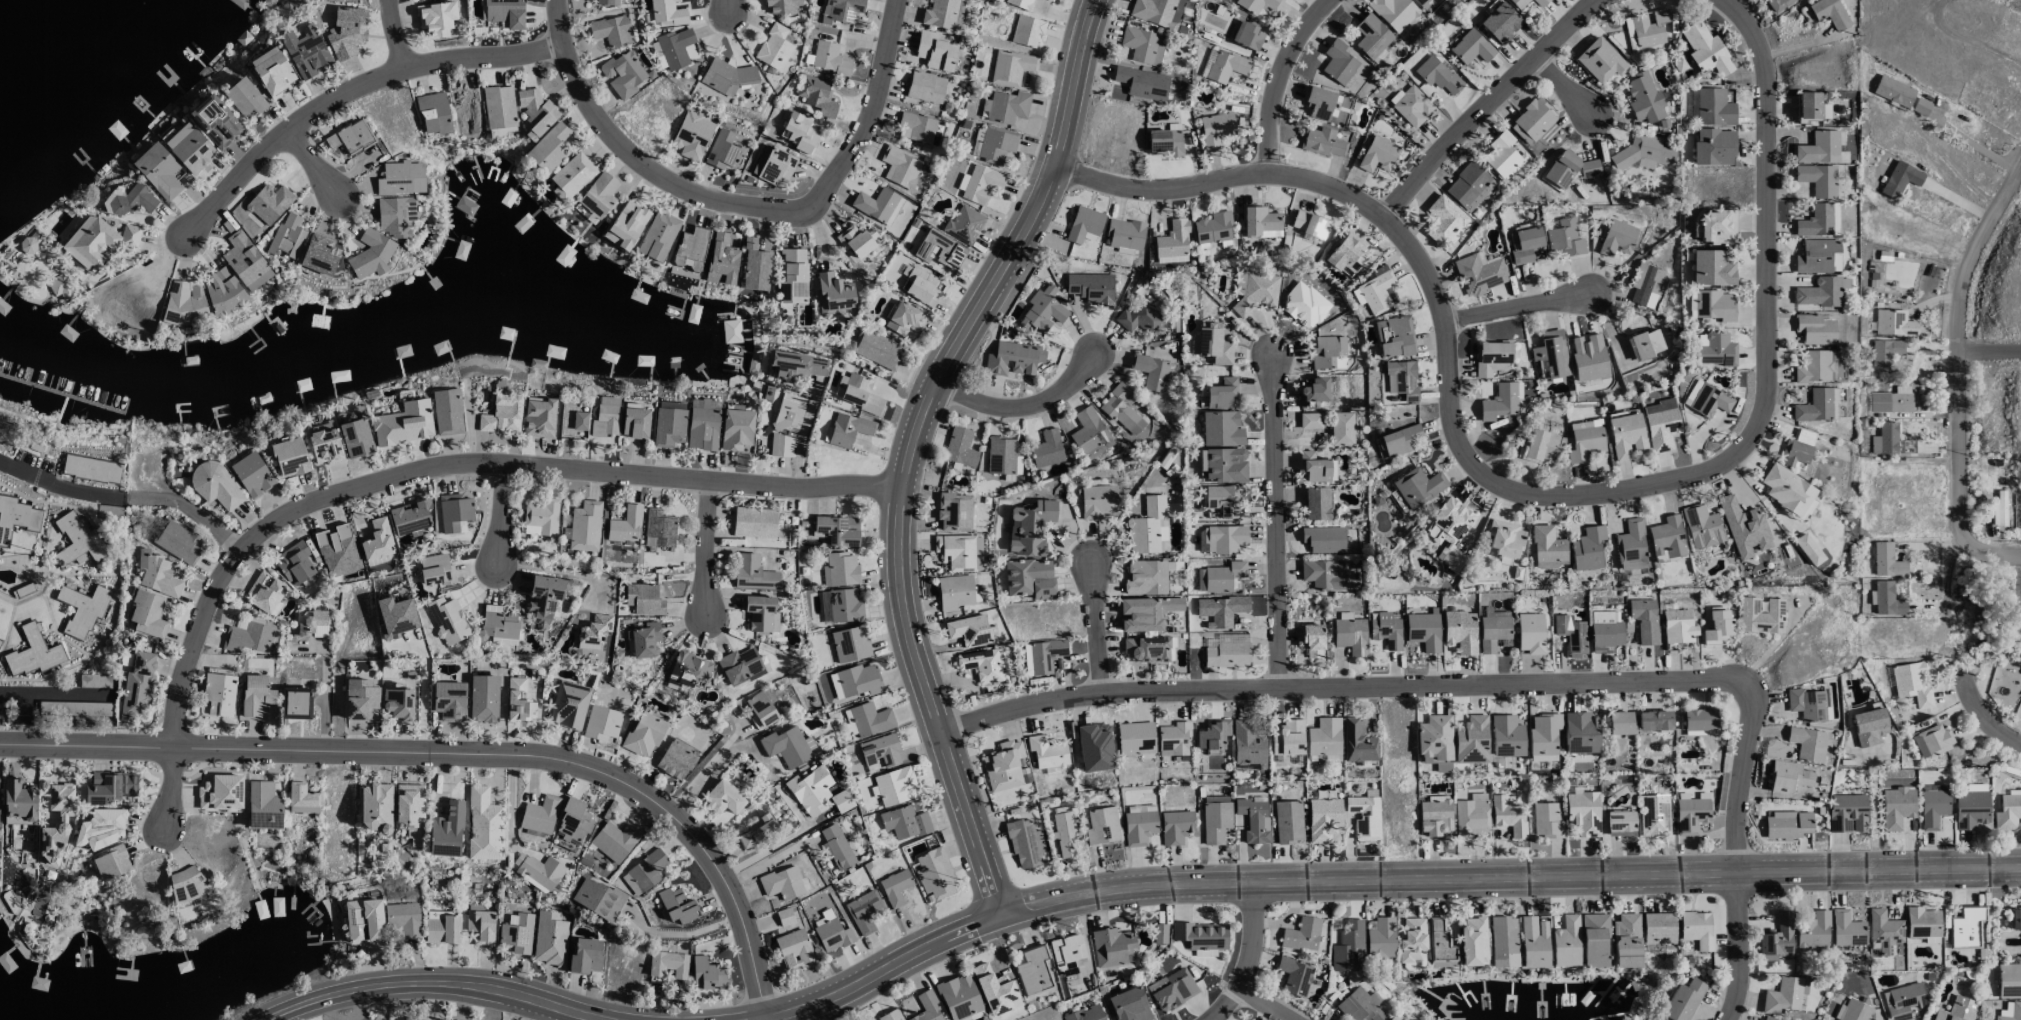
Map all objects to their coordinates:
building: (1050, 0)
building: (346, 1)
building: (607, 2)
building: (1517, 3)
building: (1538, 3)
building: (1019, 4)
building: (1424, 4)
building: (1775, 4)
building: (1257, 5)
road: (733, 6)
building: (782, 6)
building: (842, 10)
building: (504, 12)
building: (667, 12)
building: (1157, 12)
building: (1393, 12)
building: (939, 13)
building: (1829, 13)
building: (958, 15)
building: (435, 18)
building: (1499, 22)
building: (1646, 28)
building: (611, 30)
building: (1026, 31)
building: (346, 32)
road: (396, 33)
building: (1371, 36)
building: (1247, 37)
road: (1966, 41)
building: (1142, 45)
building: (773, 47)
building: (1471, 47)
building: (674, 48)
building: (1705, 49)
building: (305, 51)
building: (934, 51)
building: (657, 56)
building: (829, 58)
building: (1599, 60)
building: (1338, 62)
building: (1226, 66)
building: (1010, 67)
building: (272, 72)
building: (622, 74)
building: (1437, 75)
building: (724, 76)
road: (1278, 78)
building: (1141, 83)
road: (1563, 85)
building: (925, 87)
road: (344, 89)
building: (1893, 91)
building: (816, 95)
building: (244, 97)
road: (1488, 99)
building: (1643, 99)
building: (1317, 102)
building: (1811, 106)
building: (498, 107)
building: (1007, 107)
building: (1412, 107)
building: (1713, 107)
building: (535, 108)
building: (465, 109)
building: (433, 113)
building: (1533, 119)
building: (214, 121)
building: (917, 127)
building: (1215, 129)
building: (799, 133)
building: (692, 135)
building: (350, 137)
building: (1164, 142)
building: (1323, 142)
building: (996, 144)
road: (1973, 145)
building: (1713, 147)
building: (189, 148)
building: (1818, 148)
building: (548, 149)
building: (723, 150)
building: (1644, 153)
building: (1377, 154)
building: (1502, 156)
road: (314, 162)
building: (775, 166)
building: (900, 167)
building: (1569, 169)
building: (158, 171)
building: (570, 176)
building: (400, 178)
building: (1900, 179)
building: (1818, 180)
building: (981, 184)
building: (1466, 184)
building: (598, 195)
building: (1479, 196)
building: (269, 203)
road: (743, 203)
building: (875, 204)
building: (395, 217)
building: (1835, 218)
building: (1443, 220)
building: (1260, 222)
building: (1815, 222)
building: (1083, 224)
building: (1309, 224)
building: (625, 225)
building: (963, 225)
building: (1716, 227)
building: (1213, 228)
building: (1125, 234)
building: (657, 236)
building: (287, 237)
building: (1565, 238)
building: (1617, 238)
building: (857, 240)
building: (1173, 240)
building: (96, 241)
building: (690, 249)
building: (938, 250)
building: (1346, 253)
building: (371, 254)
building: (1818, 257)
building: (720, 259)
building: (1171, 260)
building: (245, 261)
building: (754, 267)
building: (1711, 268)
building: (1479, 274)
building: (792, 276)
building: (1645, 283)
building: (62, 287)
building: (921, 287)
building: (1091, 288)
building: (222, 291)
building: (1256, 292)
building: (1377, 292)
building: (1819, 292)
building: (832, 296)
building: (182, 304)
building: (1714, 305)
road: (1523, 310)
building: (1042, 311)
building: (905, 318)
building: (1141, 319)
building: (1894, 323)
building: (1814, 329)
building: (1394, 337)
building: (1646, 343)
building: (1211, 344)
road: (1991, 347)
building: (876, 349)
building: (1327, 350)
building: (1716, 350)
building: (1551, 353)
building: (1884, 353)
building: (1491, 358)
building: (1013, 359)
building: (796, 366)
building: (1815, 367)
building: (1150, 371)
building: (1401, 379)
building: (1313, 392)
building: (1221, 393)
building: (860, 394)
road: (1960, 395)
building: (792, 399)
building: (1705, 399)
building: (608, 400)
road: (1028, 401)
building: (1499, 402)
building: (1895, 402)
building: (702, 404)
building: (1817, 406)
building: (1122, 409)
building: (447, 412)
building: (501, 415)
building: (573, 417)
building: (538, 418)
building: (787, 418)
building: (1310, 420)
building: (605, 421)
building: (634, 423)
building: (404, 424)
building: (668, 424)
building: (1585, 424)
building: (1660, 424)
building: (702, 429)
building: (736, 429)
building: (847, 429)
building: (1221, 429)
building: (1341, 429)
building: (1088, 431)
building: (7, 432)
building: (1626, 436)
road: (908, 439)
building: (1884, 439)
building: (1399, 440)
building: (1540, 445)
building: (1584, 445)
building: (780, 446)
building: (325, 447)
building: (960, 447)
building: (1046, 449)
building: (1796, 449)
building: (1000, 455)
building: (289, 457)
road: (803, 460)
building: (1224, 465)
building: (1313, 467)
building: (90, 469)
road: (409, 470)
building: (251, 474)
building: (215, 485)
building: (1418, 487)
building: (1786, 490)
road: (123, 496)
road: (1530, 496)
building: (1223, 500)
building: (1097, 501)
building: (1316, 503)
building: (1999, 508)
building: (108, 511)
building: (454, 512)
building: (954, 512)
building: (541, 516)
road: (1275, 516)
building: (410, 517)
road: (498, 517)
building: (16, 518)
building: (754, 522)
building: (584, 526)
building: (624, 526)
building: (1148, 527)
building: (1701, 527)
building: (1029, 528)
building: (1742, 528)
building: (658, 529)
building: (836, 530)
building: (1449, 531)
building: (1227, 538)
building: (1504, 538)
building: (1666, 538)
building: (1323, 539)
building: (76, 540)
building: (377, 540)
building: (177, 541)
building: (1546, 544)
road: (1989, 545)
building: (1630, 546)
building: (1587, 548)
building: (1807, 549)
building: (337, 550)
road: (706, 551)
building: (959, 552)
building: (1886, 561)
building: (295, 563)
road: (551, 567)
building: (840, 569)
building: (435, 570)
building: (753, 573)
building: (156, 574)
building: (1323, 574)
building: (1224, 577)
building: (1145, 578)
building: (1029, 579)
building: (264, 591)
building: (954, 592)
building: (544, 597)
building: (643, 599)
building: (1886, 600)
building: (844, 606)
building: (83, 608)
building: (1227, 610)
building: (1146, 613)
building: (147, 614)
building: (761, 614)
building: (1761, 615)
building: (447, 620)
building: (1644, 620)
road: (1098, 623)
building: (313, 624)
building: (499, 626)
building: (1717, 626)
building: (1677, 627)
building: (1385, 629)
building: (969, 631)
building: (1423, 631)
building: (1460, 631)
building: (593, 632)
building: (1493, 632)
building: (1530, 633)
building: (1571, 634)
building: (1350, 636)
building: (1605, 636)
building: (248, 637)
building: (644, 639)
building: (1310, 639)
building: (850, 644)
building: (1145, 649)
building: (1228, 651)
building: (33, 653)
building: (1045, 655)
building: (984, 665)
building: (740, 666)
building: (687, 669)
road: (1519, 679)
building: (859, 680)
building: (94, 681)
building: (1912, 683)
building: (138, 685)
road: (317, 690)
road: (67, 694)
building: (219, 694)
building: (255, 695)
road: (420, 697)
building: (483, 698)
building: (360, 699)
building: (449, 701)
building: (518, 701)
building: (1806, 704)
building: (294, 705)
building: (568, 705)
road: (23, 708)
building: (75, 708)
building: (760, 709)
road: (1986, 711)
building: (870, 719)
building: (1653, 721)
building: (1699, 722)
building: (601, 723)
building: (1619, 723)
building: (1868, 727)
building: (645, 731)
building: (1580, 733)
building: (1212, 734)
building: (1506, 736)
building: (1542, 736)
building: (1324, 737)
building: (1135, 738)
building: (1173, 739)
building: (1287, 739)
building: (1470, 740)
building: (1931, 740)
building: (1435, 742)
building: (1247, 743)
building: (1357, 743)
building: (1807, 743)
building: (786, 746)
building: (1094, 747)
road: (12, 748)
building: (879, 752)
road: (470, 753)
building: (1046, 753)
building: (675, 759)
building: (1003, 766)
road: (707, 768)
building: (1787, 777)
road: (1995, 781)
building: (894, 786)
building: (109, 787)
building: (1975, 787)
building: (810, 791)
building: (220, 792)
building: (301, 798)
building: (722, 798)
building: (19, 800)
building: (409, 804)
building: (262, 806)
building: (375, 807)
building: (1895, 807)
building: (1932, 808)
building: (1970, 809)
building: (2007, 811)
building: (1583, 813)
building: (1846, 813)
building: (539, 815)
building: (1435, 815)
building: (1654, 815)
building: (1690, 815)
road: (1873, 815)
building: (1364, 816)
building: (1470, 816)
building: (1508, 816)
building: (1215, 818)
building: (1323, 819)
building: (56, 820)
building: (1254, 820)
building: (1546, 820)
building: (1288, 821)
building: (573, 822)
building: (904, 822)
building: (1620, 823)
building: (1139, 824)
building: (1102, 825)
building: (1786, 825)
building: (483, 826)
building: (1175, 827)
building: (101, 828)
building: (446, 831)
building: (757, 831)
building: (1064, 832)
building: (614, 841)
building: (1025, 844)
building: (836, 847)
building: (111, 863)
building: (538, 870)
building: (644, 872)
building: (933, 873)
road: (1353, 879)
building: (782, 883)
building: (185, 884)
building: (894, 888)
building: (598, 899)
building: (677, 906)
building: (863, 911)
building: (784, 917)
building: (2015, 918)
building: (403, 919)
building: (363, 921)
building: (1921, 922)
building: (480, 927)
building: (441, 928)
building: (1658, 928)
building: (1696, 929)
building: (1846, 929)
building: (1965, 929)
building: (1813, 930)
building: (1883, 931)
building: (516, 933)
road: (686, 933)
building: (1159, 934)
building: (1301, 934)
building: (831, 935)
building: (1200, 935)
road: (1255, 937)
building: (550, 939)
building: (1380, 939)
building: (1777, 939)
building: (1472, 941)
building: (1594, 941)
building: (1625, 941)
building: (1411, 942)
building: (1502, 942)
building: (1533, 942)
building: (1564, 942)
building: (1439, 945)
building: (1111, 947)
building: (1347, 947)
building: (793, 948)
building: (1067, 955)
building: (585, 956)
building: (667, 964)
building: (1032, 971)
building: (706, 974)
road: (437, 977)
building: (1294, 977)
building: (2008, 980)
building: (1171, 989)
building: (994, 990)
building: (1784, 995)
building: (958, 997)
building: (1903, 999)
building: (1683, 1000)
road: (520, 1005)
building: (1128, 1005)
building: (1360, 1005)
road: (1225, 1006)
road: (1266, 1006)
building: (926, 1008)
building: (1956, 1010)
building: (1855, 1011)
building: (2012, 1012)
building: (1085, 1014)
building: (889, 1015)
building: (1391, 1018)
building: (1769, 1018)

